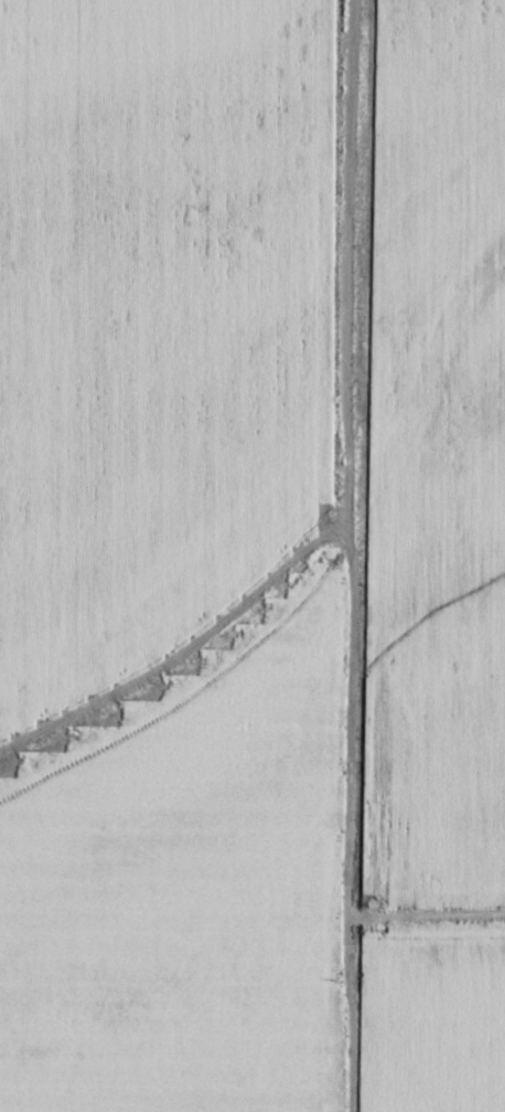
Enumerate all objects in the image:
road: (170, 77)
road: (309, 412)
road: (345, 734)

